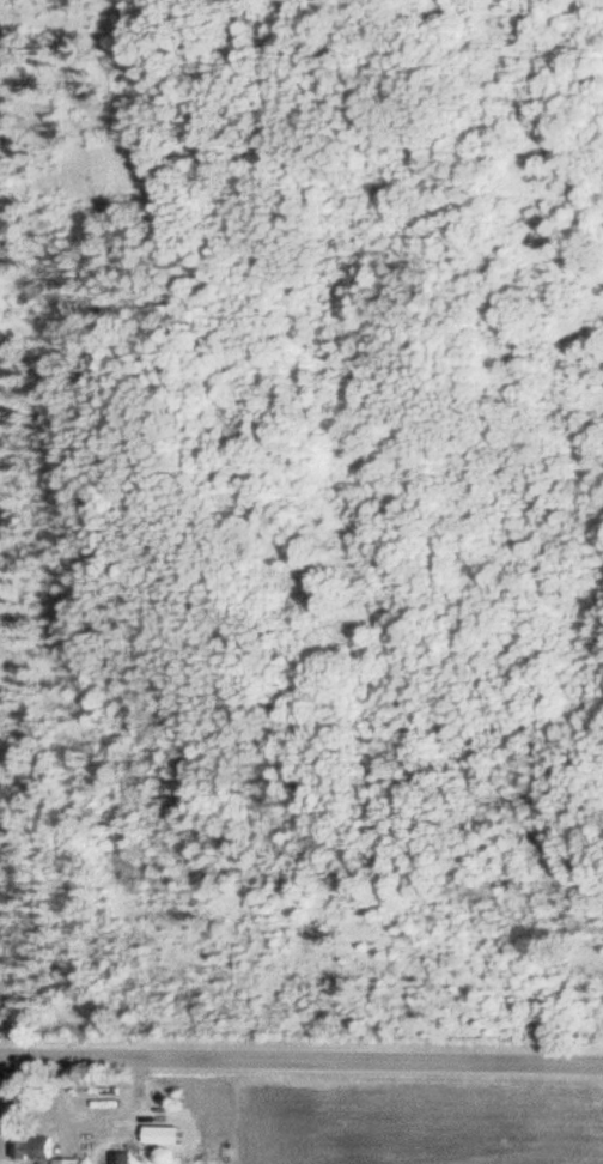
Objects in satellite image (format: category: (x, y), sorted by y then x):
road: (301, 1060)
building: (33, 1148)
building: (120, 1157)
building: (65, 1160)

